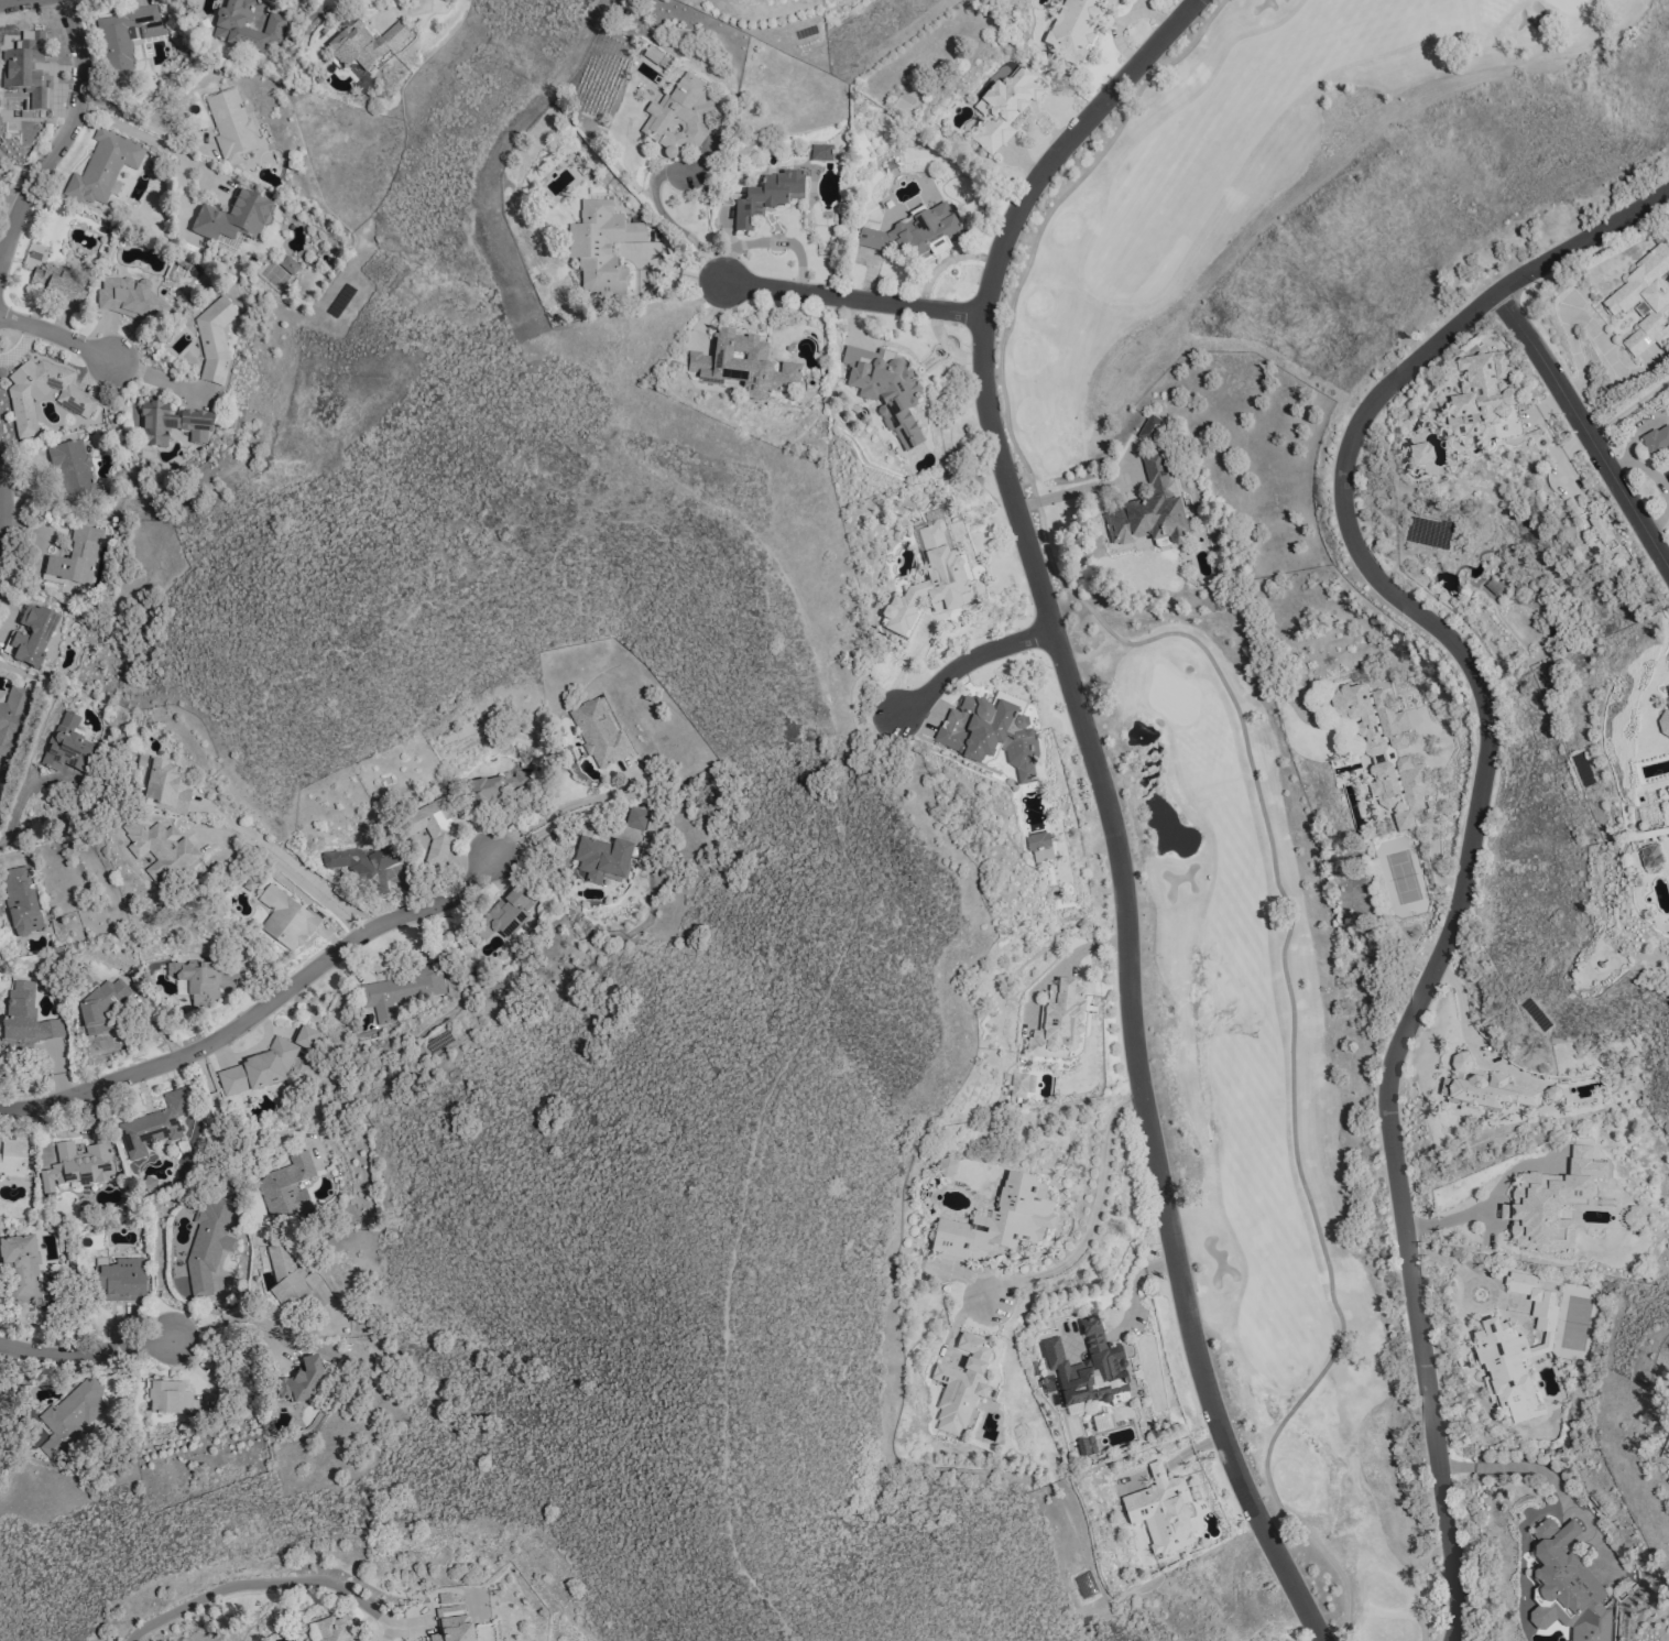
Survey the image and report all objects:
road: (7, 1)
building: (244, 25)
building: (1073, 28)
building: (127, 39)
building: (362, 43)
building: (655, 57)
building: (24, 69)
building: (1004, 106)
building: (677, 116)
building: (228, 122)
road: (64, 132)
road: (154, 142)
building: (820, 151)
building: (102, 165)
building: (766, 196)
building: (231, 217)
road: (667, 220)
building: (910, 236)
building: (599, 246)
building: (287, 264)
building: (57, 284)
road: (852, 297)
building: (127, 298)
building: (1641, 303)
road: (54, 335)
building: (212, 339)
building: (741, 365)
road: (155, 376)
building: (884, 388)
building: (41, 394)
building: (1479, 398)
road: (1628, 405)
building: (170, 423)
road: (1584, 427)
building: (1149, 428)
building: (1656, 442)
building: (1419, 455)
building: (70, 468)
building: (1668, 477)
road: (1073, 491)
road: (0, 502)
building: (1146, 511)
building: (1599, 529)
building: (74, 557)
building: (929, 580)
road: (1441, 630)
building: (30, 635)
building: (1668, 645)
park: (1294, 646)
road: (962, 661)
building: (1667, 694)
building: (12, 717)
building: (1663, 722)
building: (598, 731)
building: (988, 735)
building: (66, 745)
road: (1245, 751)
building: (1384, 751)
building: (498, 785)
building: (164, 786)
road: (1099, 793)
road: (15, 812)
building: (435, 832)
building: (1038, 846)
building: (159, 848)
building: (1648, 856)
building: (600, 857)
building: (361, 858)
road: (294, 863)
road: (290, 873)
building: (20, 901)
building: (504, 913)
building: (284, 919)
building: (196, 980)
building: (397, 990)
road: (264, 1003)
building: (100, 1006)
building: (25, 1014)
building: (1057, 1021)
building: (302, 1035)
building: (1461, 1063)
building: (257, 1068)
building: (1021, 1084)
building: (1488, 1093)
building: (1551, 1093)
building: (154, 1123)
road: (222, 1131)
building: (12, 1155)
building: (75, 1164)
building: (946, 1167)
building: (285, 1186)
building: (1549, 1202)
road: (1477, 1204)
building: (1633, 1217)
building: (997, 1222)
road: (1081, 1222)
building: (208, 1243)
building: (20, 1269)
building: (293, 1279)
building: (121, 1280)
road: (203, 1311)
road: (246, 1317)
road: (230, 1328)
building: (1514, 1350)
road: (80, 1358)
road: (205, 1366)
building: (1089, 1367)
building: (301, 1381)
building: (960, 1384)
building: (167, 1397)
building: (69, 1415)
road: (1436, 1441)
road: (1514, 1465)
building: (1160, 1511)
road: (255, 1579)
building: (1564, 1585)
building: (451, 1624)
building: (332, 1629)

